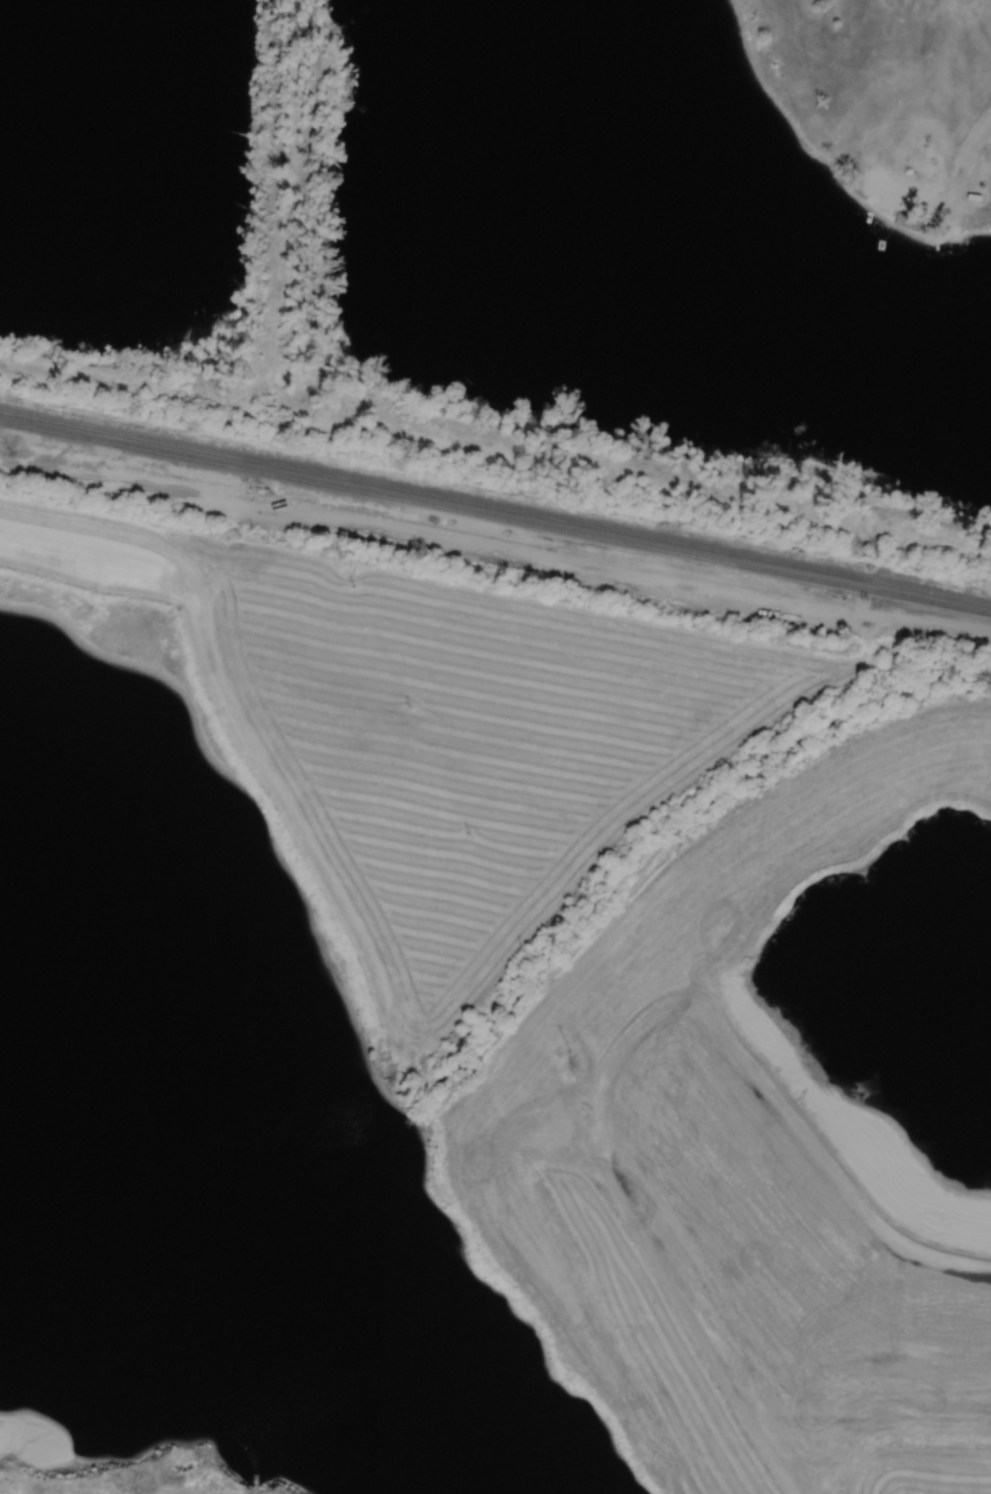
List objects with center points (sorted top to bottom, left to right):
road: (964, 174)
building: (911, 222)
railway: (495, 509)
railway: (495, 515)

